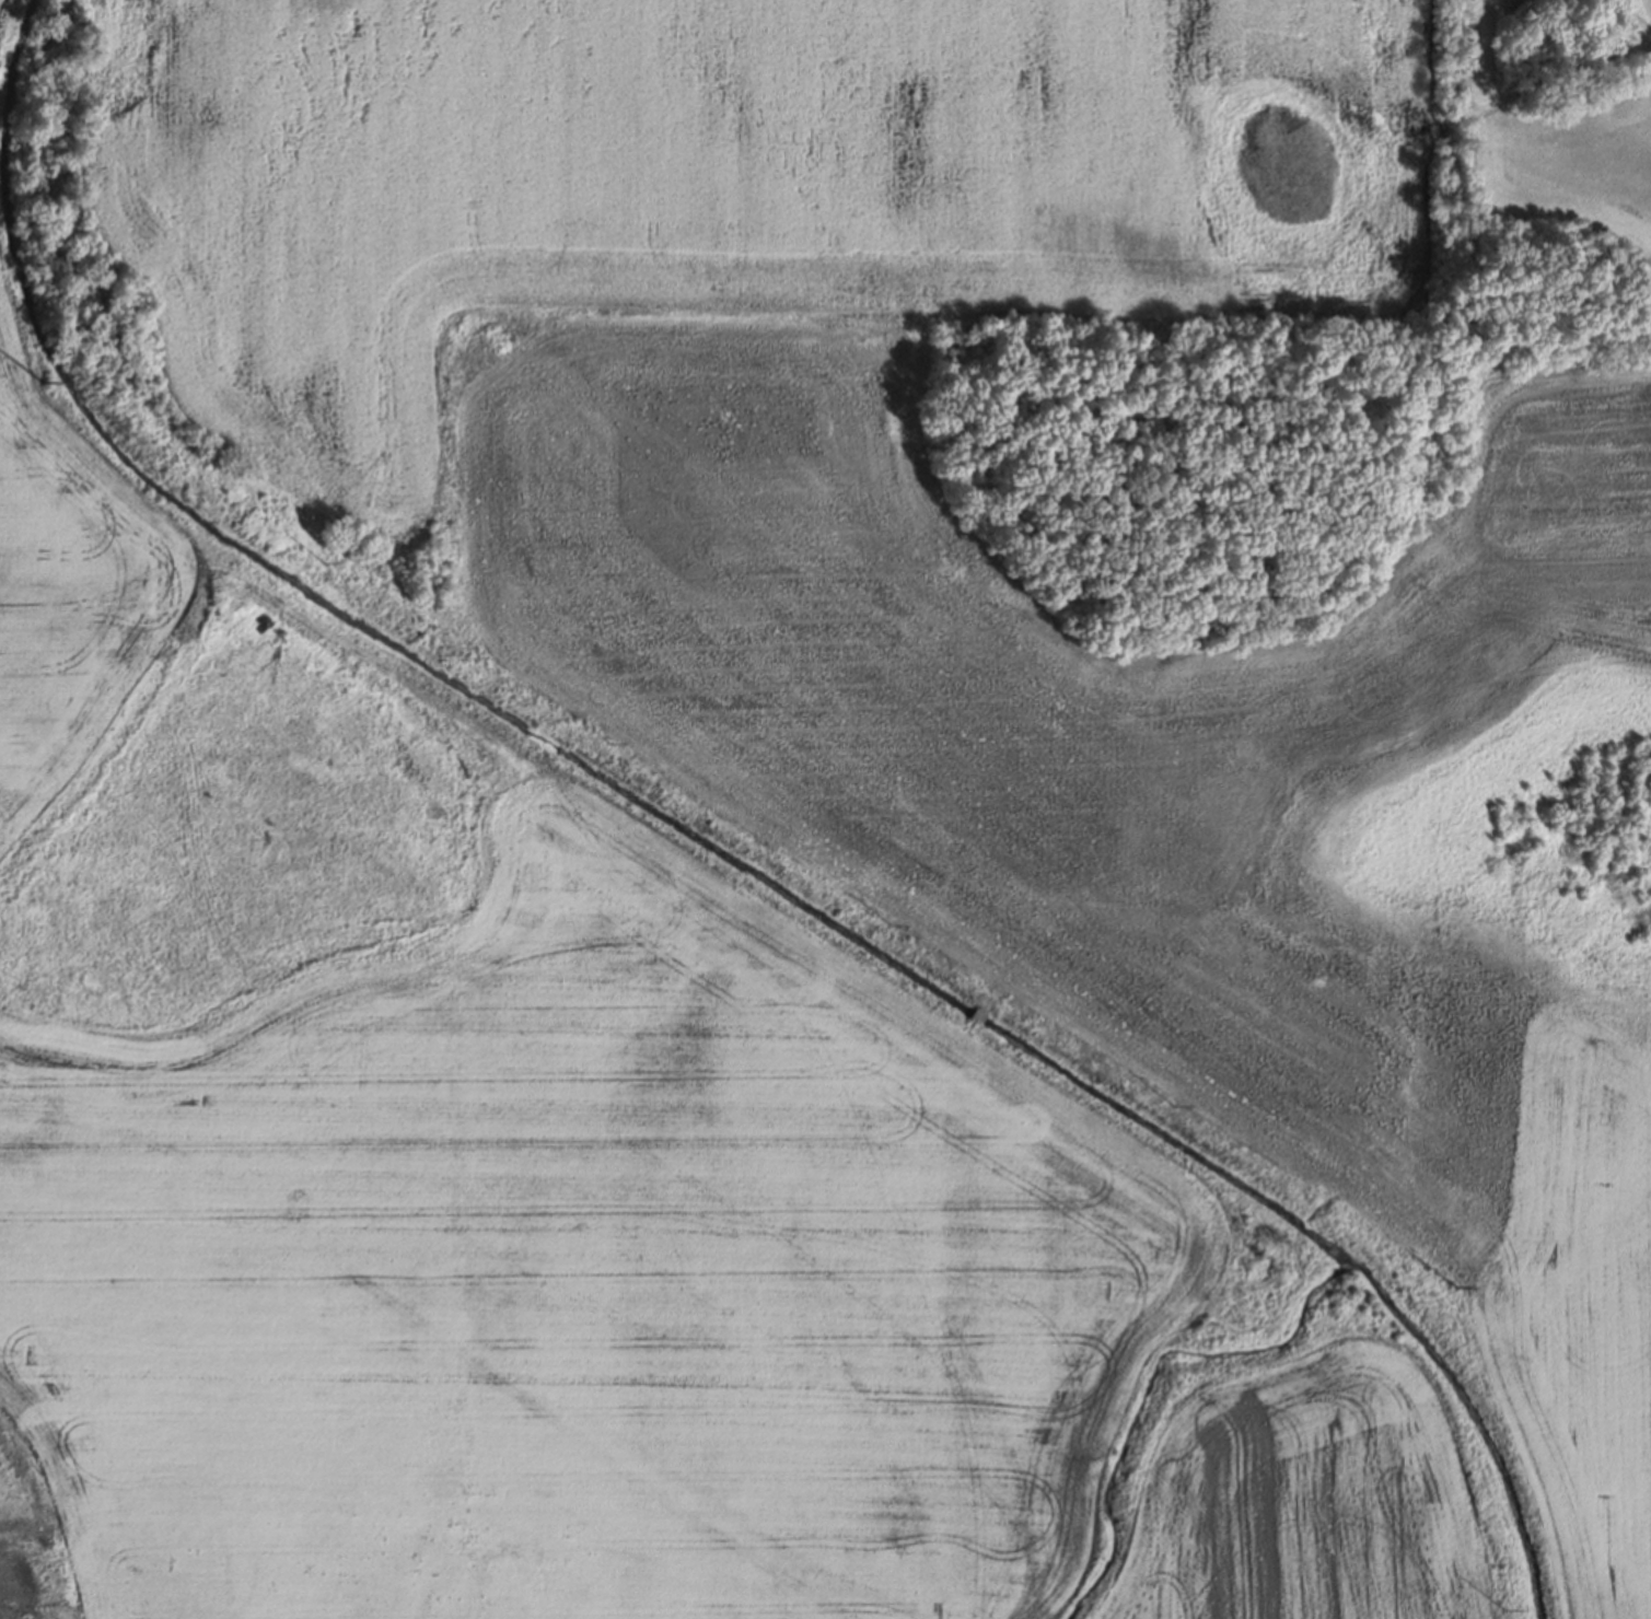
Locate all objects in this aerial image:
power tower: (42, 381)
power tower: (1451, 1285)

